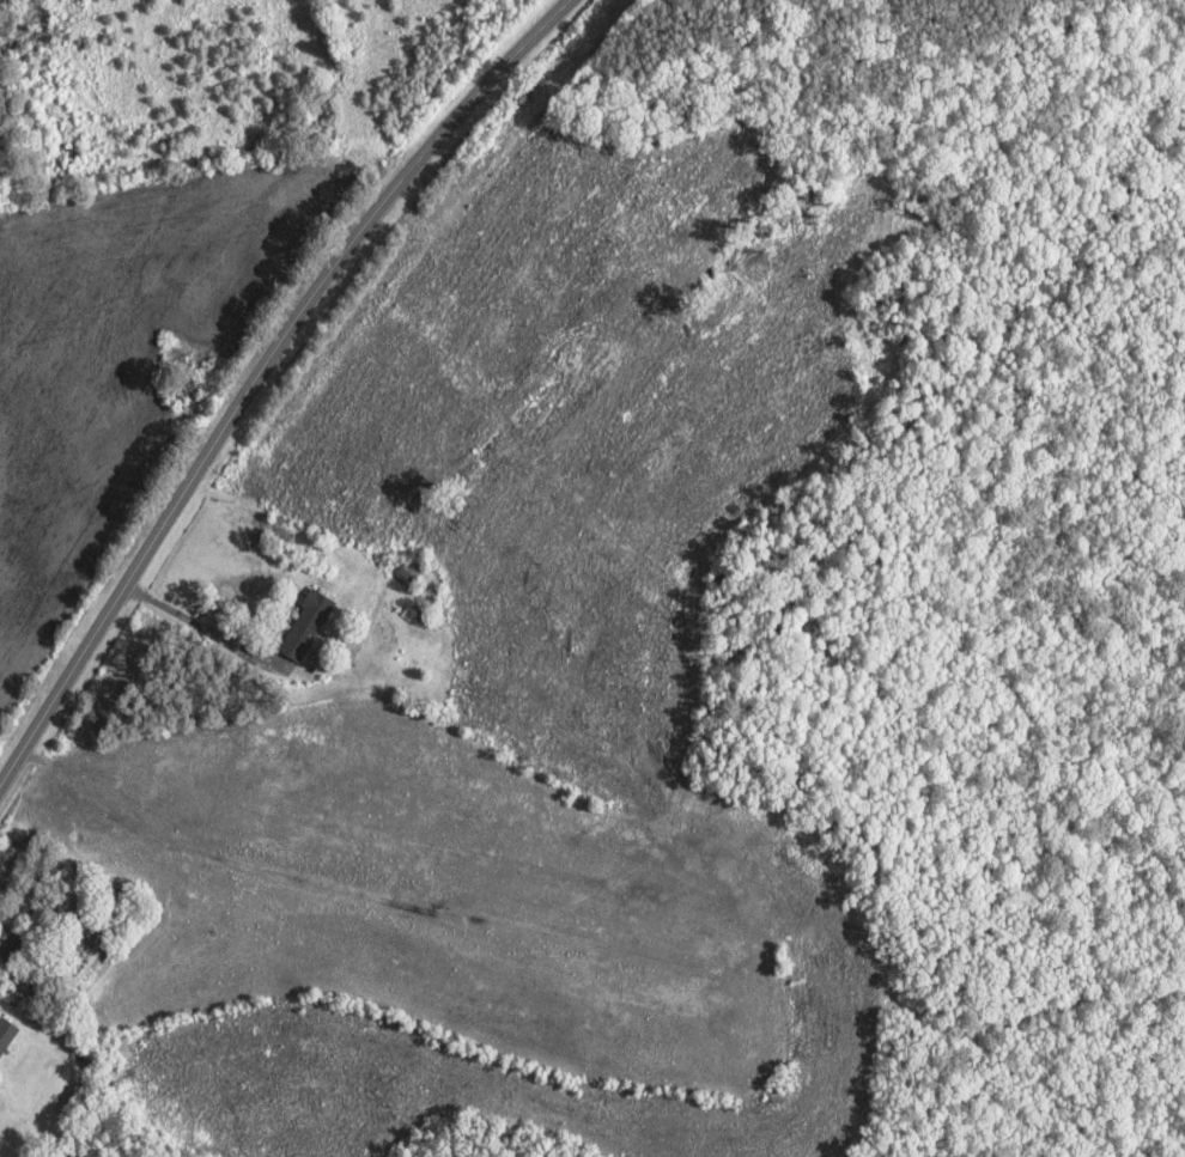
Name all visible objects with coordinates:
road: (269, 379)
building: (305, 626)
building: (5, 940)
building: (6, 1035)

